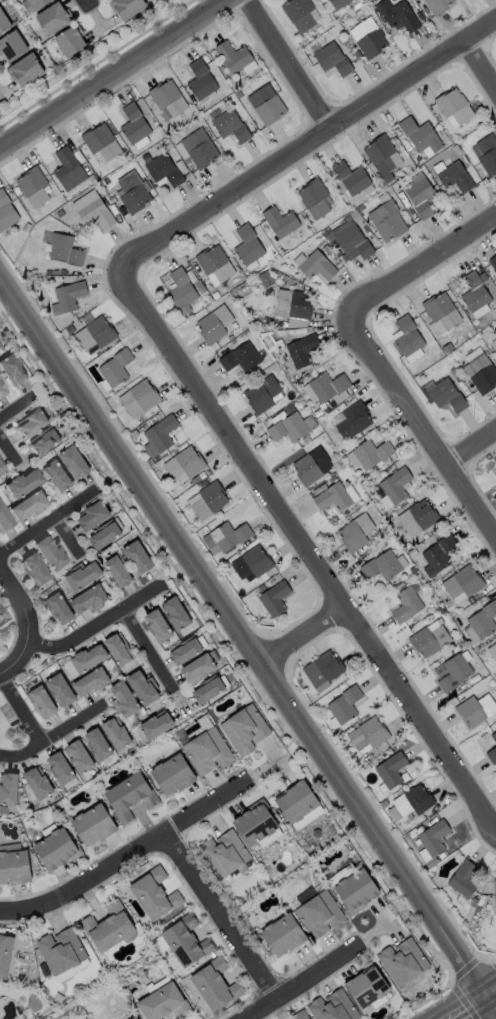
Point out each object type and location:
road: (88, 2)
building: (339, 3)
building: (40, 4)
building: (438, 5)
building: (129, 7)
building: (302, 15)
building: (400, 17)
building: (54, 19)
building: (4, 22)
building: (370, 39)
building: (72, 42)
building: (14, 46)
building: (234, 57)
building: (333, 59)
road: (96, 63)
road: (290, 63)
road: (481, 66)
building: (26, 71)
road: (115, 75)
building: (203, 82)
building: (170, 99)
building: (266, 105)
building: (457, 108)
building: (135, 124)
building: (232, 125)
building: (421, 136)
building: (102, 143)
road: (305, 145)
building: (201, 148)
building: (487, 153)
building: (384, 161)
building: (164, 169)
building: (70, 170)
building: (353, 179)
building: (456, 179)
building: (36, 188)
building: (133, 194)
building: (420, 197)
building: (317, 200)
building: (7, 212)
building: (94, 214)
building: (389, 222)
building: (282, 223)
building: (355, 241)
building: (248, 244)
building: (62, 250)
building: (495, 258)
building: (494, 263)
road: (421, 264)
building: (217, 265)
building: (318, 266)
building: (186, 289)
building: (478, 296)
building: (69, 299)
building: (294, 305)
building: (443, 316)
building: (212, 329)
building: (100, 335)
building: (411, 341)
building: (495, 344)
building: (495, 348)
building: (303, 350)
building: (242, 359)
building: (117, 370)
building: (12, 372)
building: (483, 375)
building: (330, 388)
building: (1, 392)
building: (265, 395)
building: (449, 397)
building: (138, 399)
road: (19, 409)
building: (354, 421)
building: (31, 423)
road: (420, 425)
building: (290, 429)
building: (161, 436)
building: (44, 442)
road: (471, 448)
road: (7, 452)
building: (372, 456)
building: (75, 463)
building: (184, 465)
building: (313, 467)
building: (0, 470)
building: (57, 477)
building: (494, 479)
building: (21, 484)
building: (393, 490)
building: (336, 498)
building: (209, 502)
building: (25, 507)
building: (94, 516)
building: (420, 519)
building: (3, 520)
road: (48, 523)
building: (356, 534)
building: (106, 536)
building: (229, 537)
road: (66, 538)
road: (307, 551)
building: (413, 553)
building: (48, 554)
building: (438, 557)
building: (138, 559)
building: (252, 565)
building: (386, 566)
building: (32, 570)
building: (119, 573)
building: (81, 579)
building: (463, 586)
building: (272, 600)
building: (88, 601)
building: (408, 608)
building: (57, 610)
building: (0, 612)
building: (178, 614)
building: (484, 624)
road: (95, 626)
building: (158, 626)
road: (24, 628)
road: (242, 632)
road: (304, 636)
building: (432, 641)
road: (146, 650)
building: (117, 651)
building: (187, 652)
building: (492, 653)
building: (89, 659)
building: (199, 669)
building: (325, 671)
building: (455, 673)
building: (91, 684)
building: (143, 688)
building: (60, 692)
building: (210, 692)
building: (125, 699)
building: (41, 703)
building: (345, 707)
road: (21, 710)
building: (476, 711)
building: (141, 715)
building: (202, 724)
building: (158, 727)
building: (247, 730)
building: (375, 733)
building: (117, 734)
building: (494, 737)
road: (52, 738)
building: (98, 745)
building: (208, 754)
building: (493, 757)
building: (80, 759)
building: (60, 770)
building: (172, 773)
building: (391, 773)
building: (37, 785)
building: (8, 791)
building: (131, 799)
building: (300, 804)
building: (414, 804)
building: (258, 826)
building: (94, 827)
building: (454, 838)
building: (434, 840)
building: (58, 851)
road: (126, 855)
building: (227, 855)
building: (15, 869)
building: (464, 881)
building: (359, 892)
building: (495, 892)
building: (157, 894)
road: (220, 916)
building: (321, 916)
building: (111, 930)
building: (285, 937)
building: (189, 942)
building: (64, 953)
building: (7, 956)
building: (404, 963)
road: (303, 982)
building: (218, 988)
building: (369, 989)
road: (492, 992)
road: (492, 1000)
building: (167, 1006)
building: (335, 1007)
road: (468, 1007)
building: (302, 1016)
building: (133, 1017)

